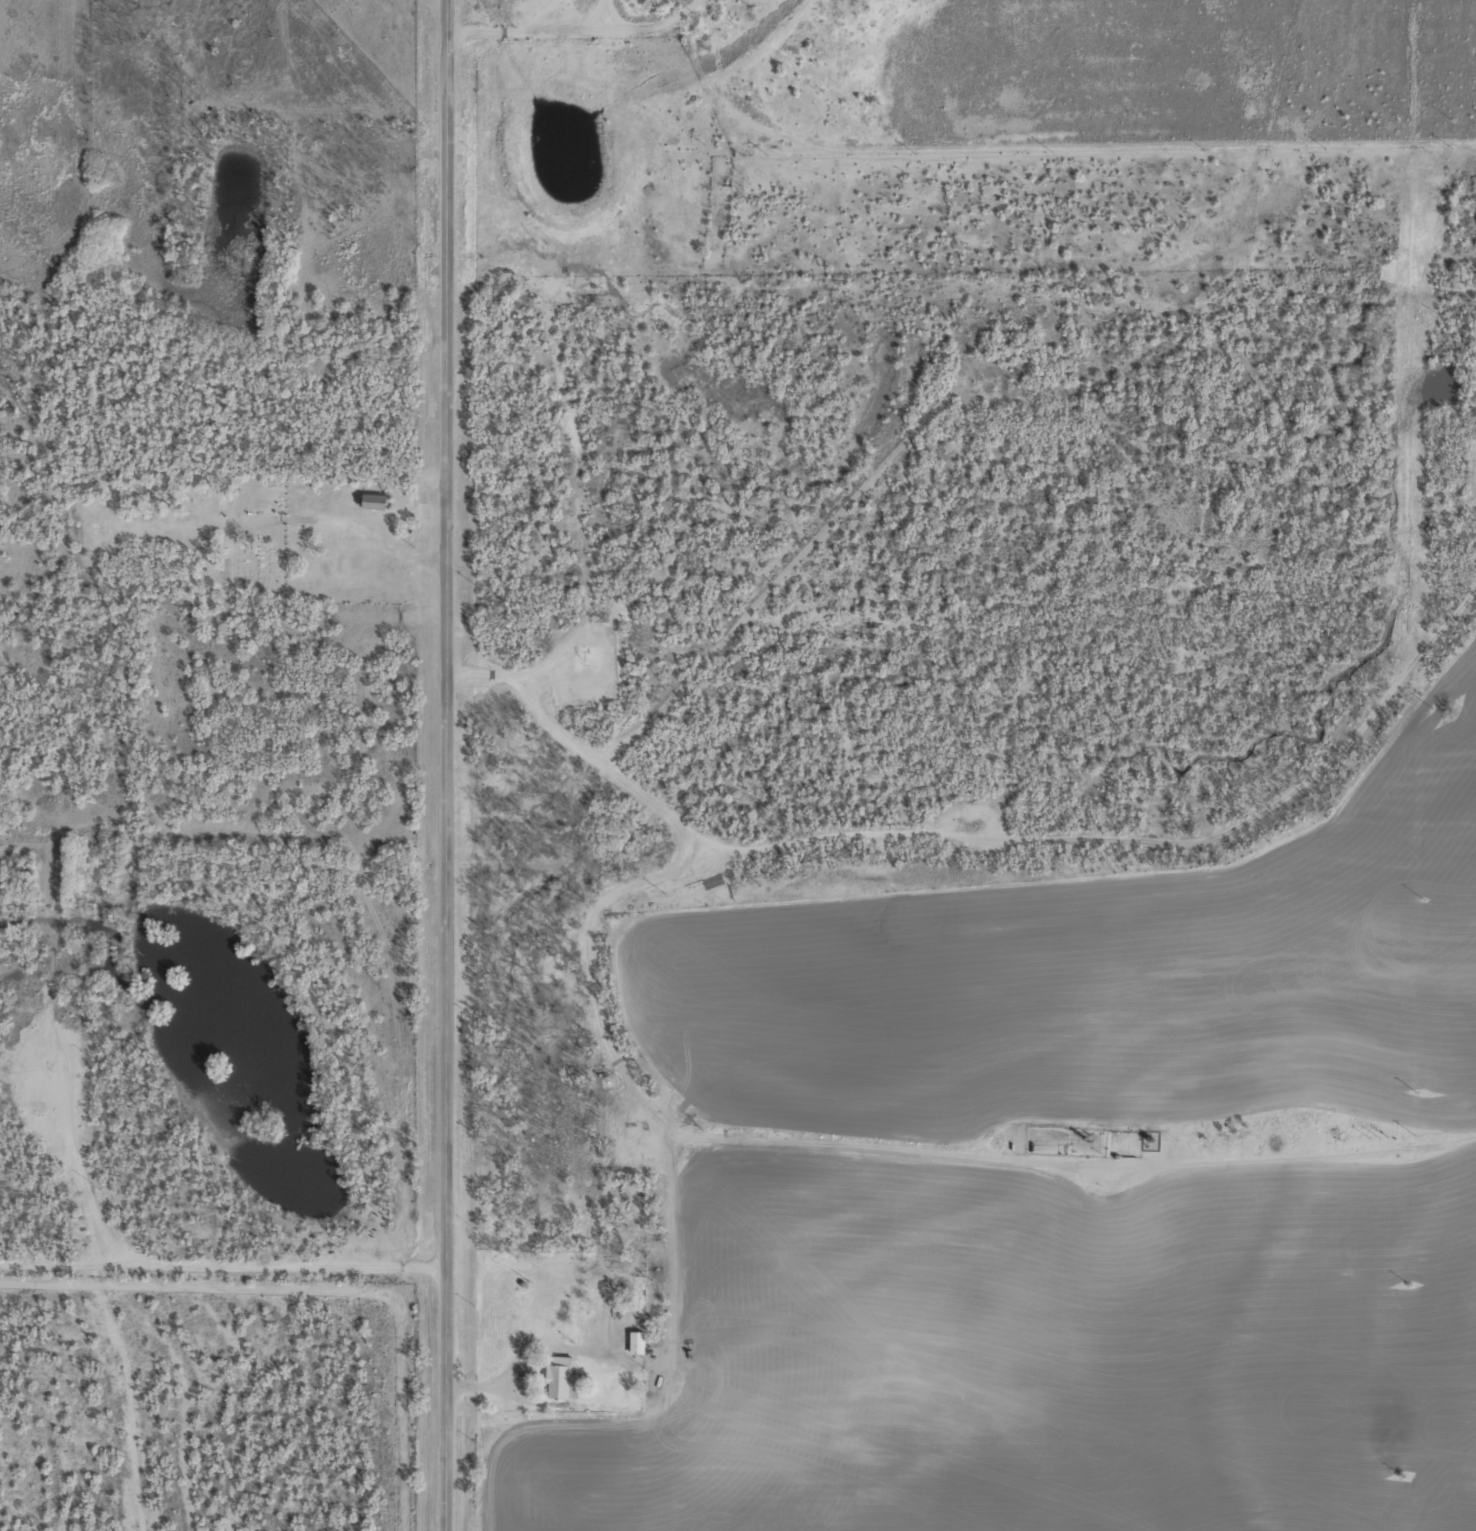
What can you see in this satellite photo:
road: (687, 13)
road: (933, 168)
building: (371, 501)
park: (233, 537)
road: (445, 765)
road: (608, 975)
road: (222, 1274)
road: (626, 1325)
building: (635, 1343)
building: (560, 1379)

